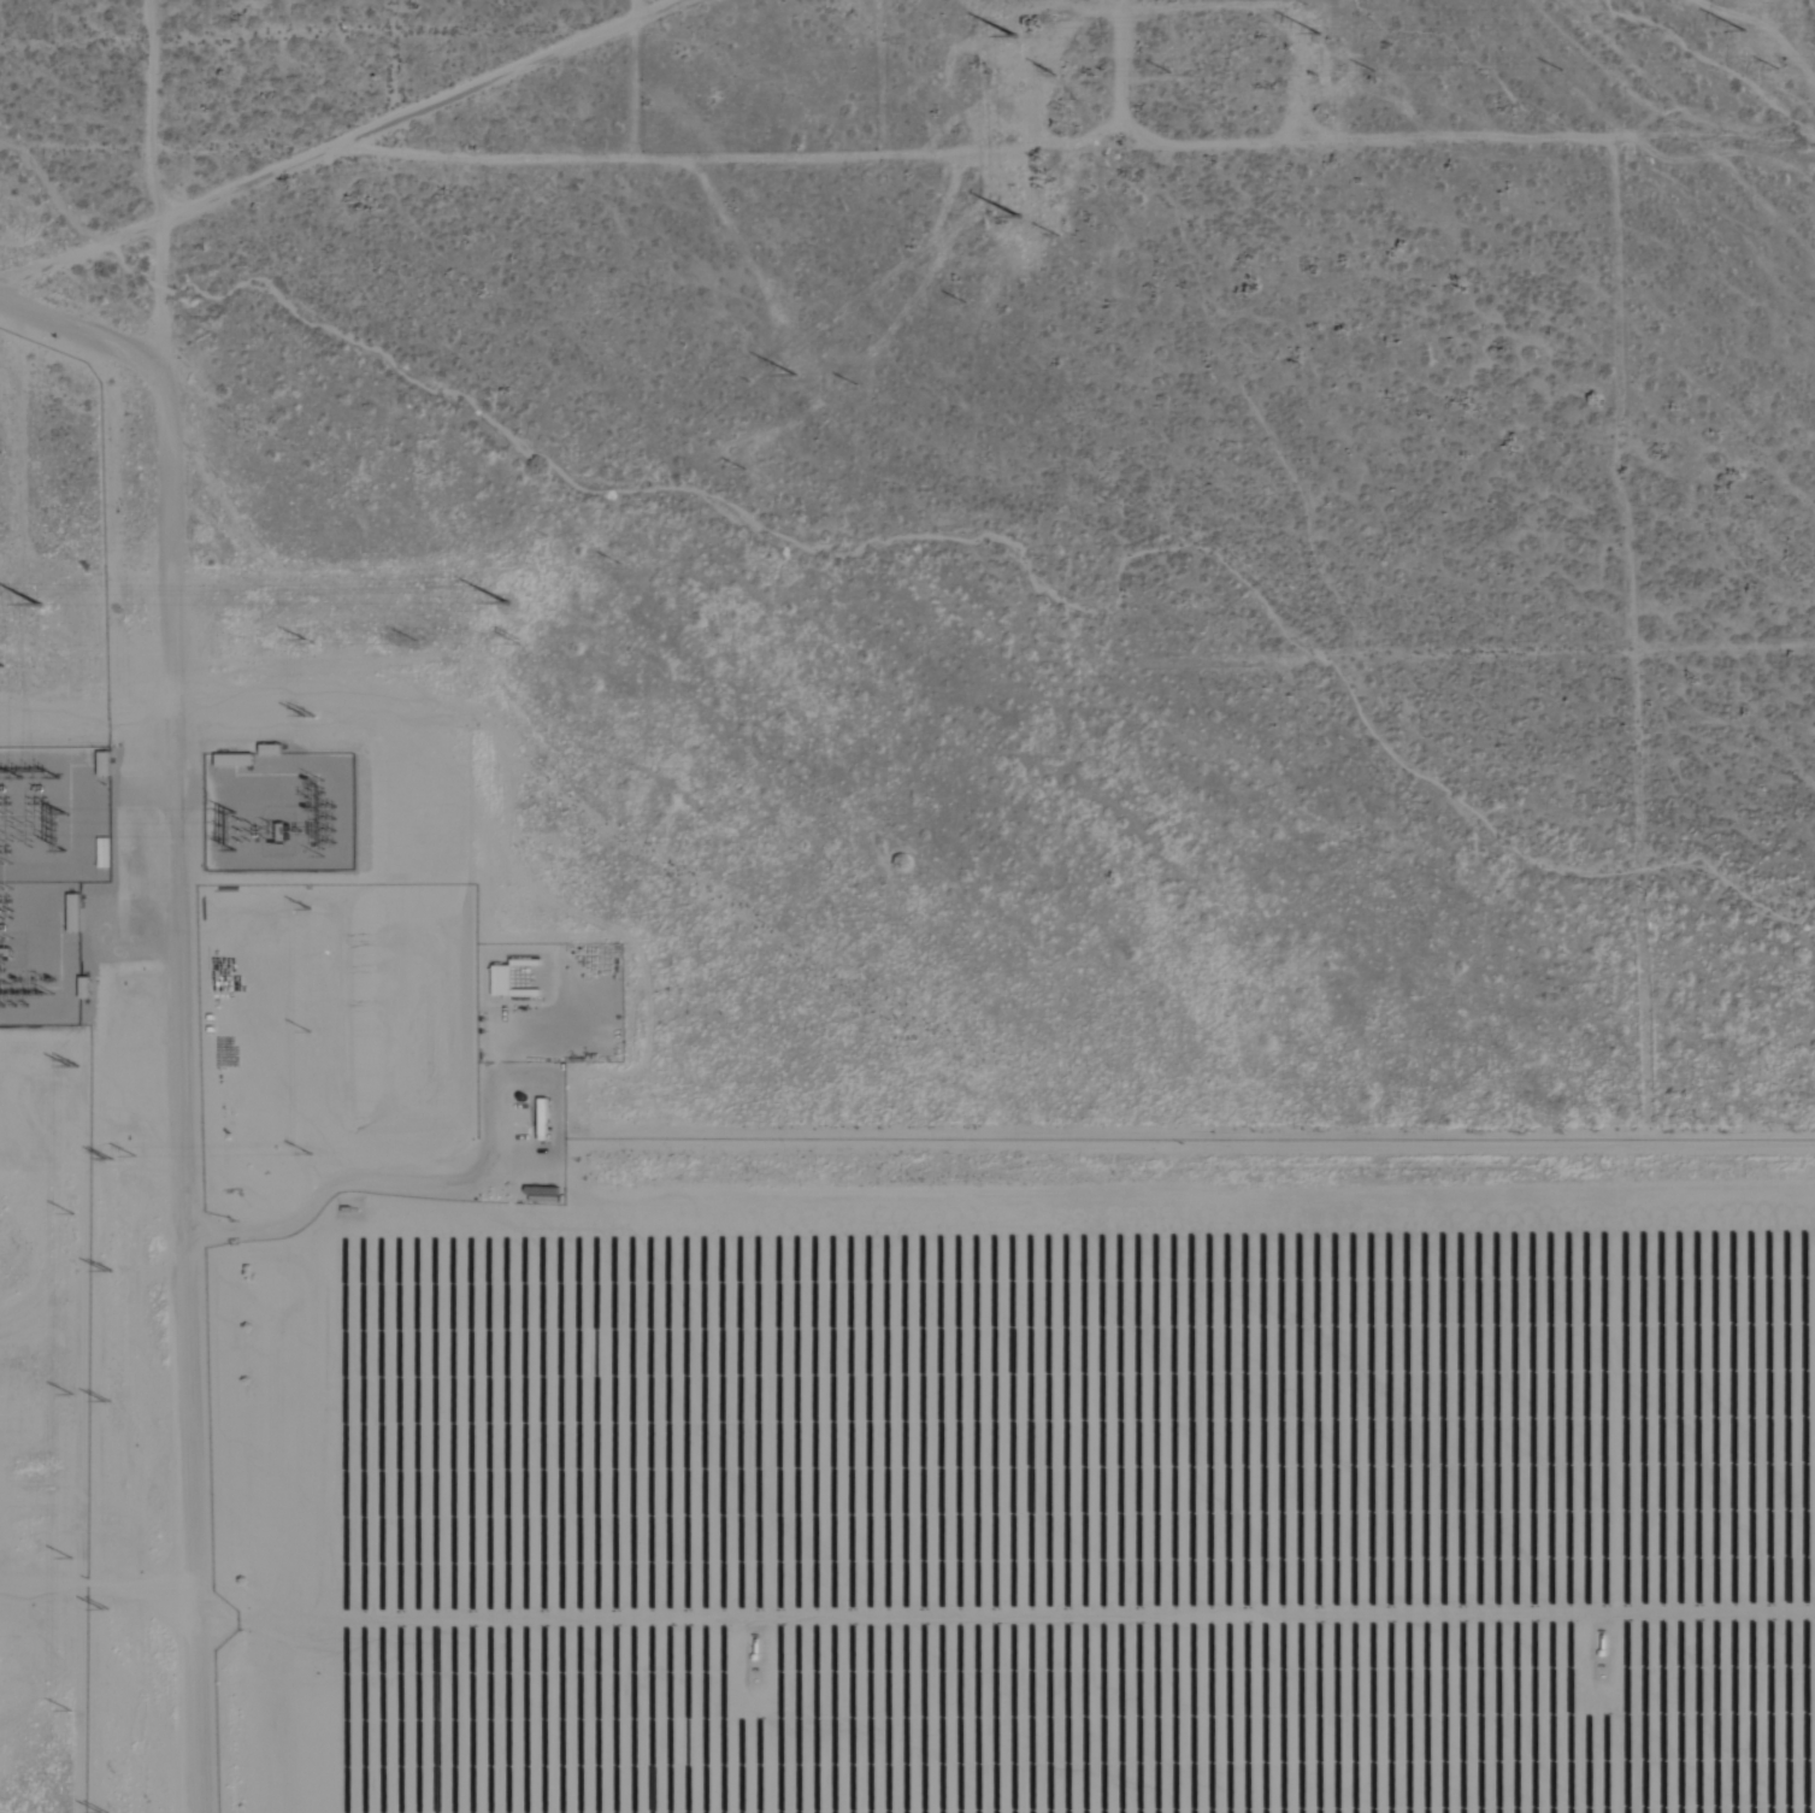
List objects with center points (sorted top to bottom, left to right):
road: (152, 30)
road: (358, 149)
road: (1114, 160)
road: (476, 175)
road: (82, 347)
building: (101, 764)
power substation: (282, 811)
power substation: (51, 875)
building: (71, 912)
building: (499, 981)
road: (178, 1023)
solar farm: (1015, 1478)
solar farm: (45, 1484)

